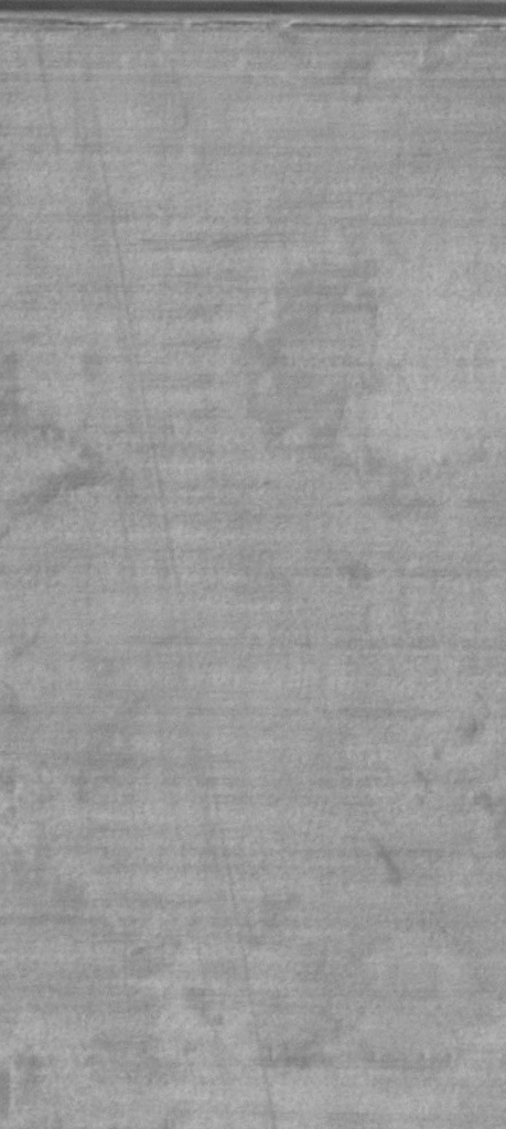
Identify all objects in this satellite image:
road: (259, 1)

